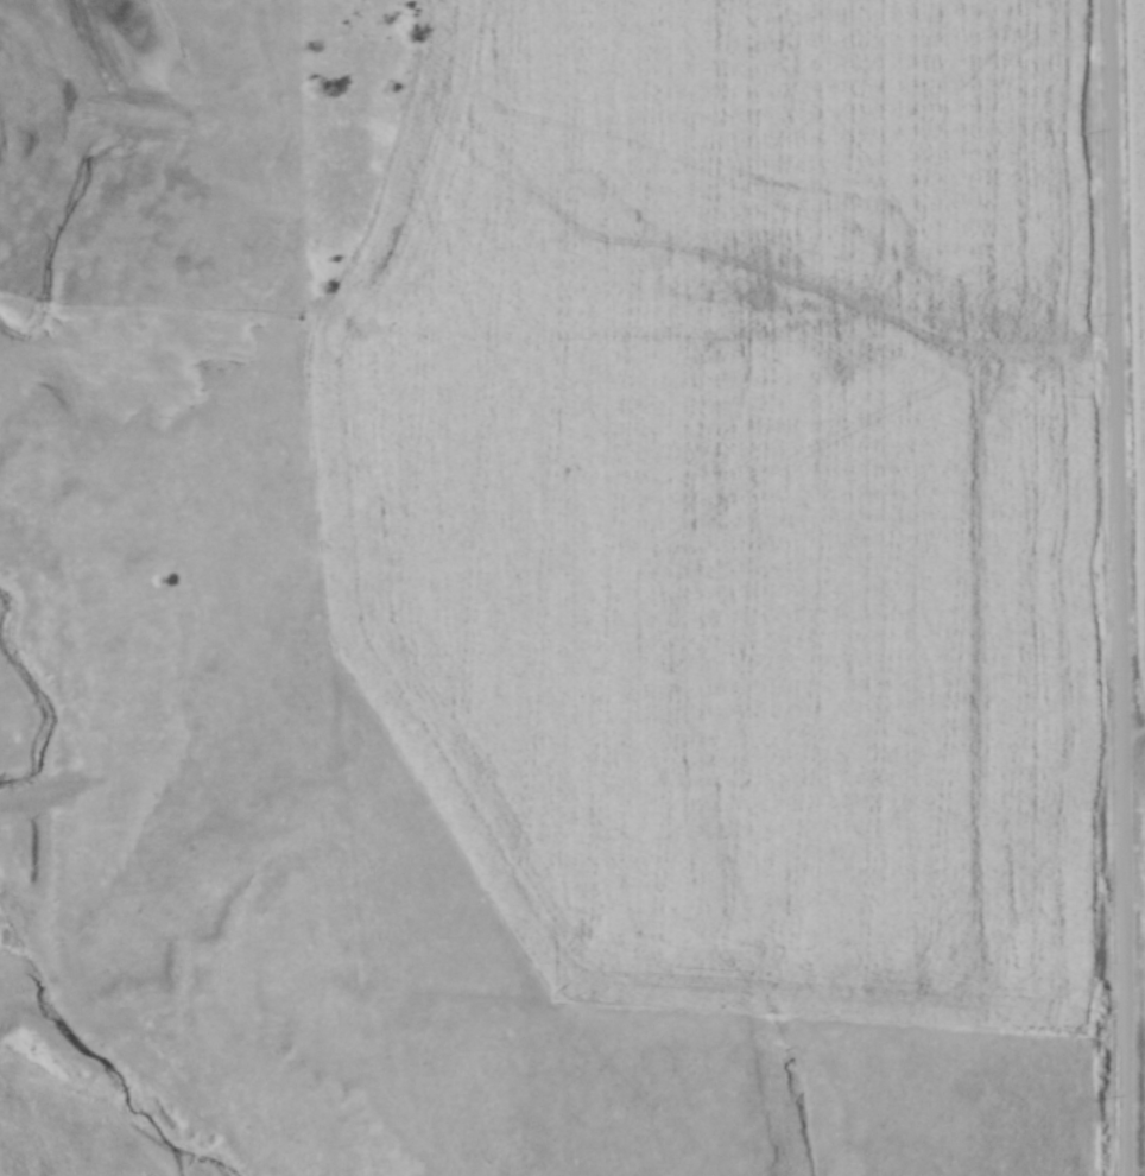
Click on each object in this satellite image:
road: (1121, 587)

